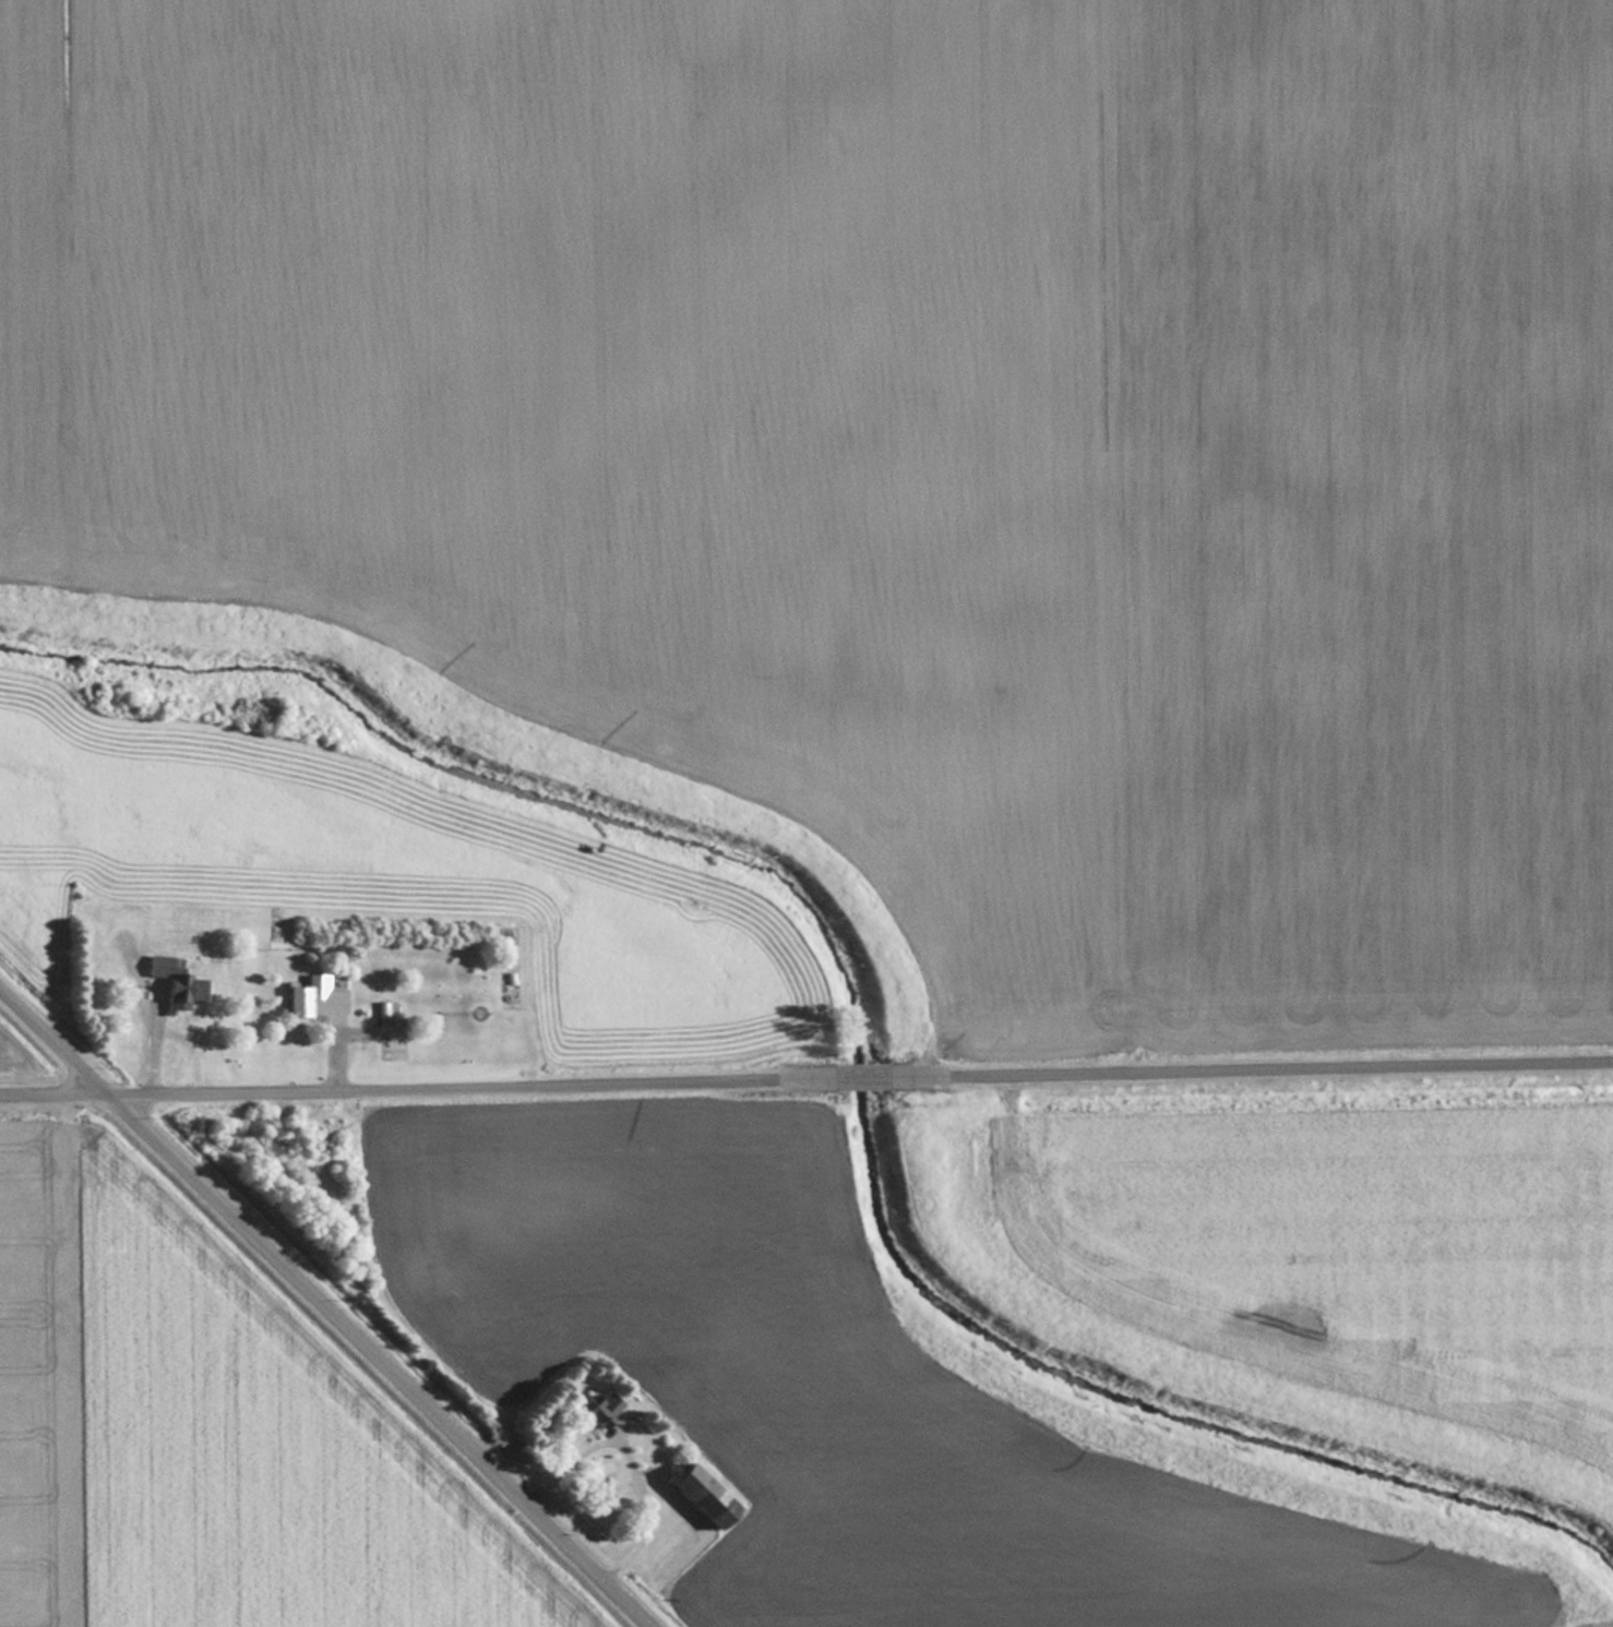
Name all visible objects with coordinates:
building: (176, 982)
building: (313, 996)
road: (1254, 1068)
road: (861, 1078)
road: (414, 1088)
road: (326, 1303)
building: (596, 1410)
building: (700, 1494)

